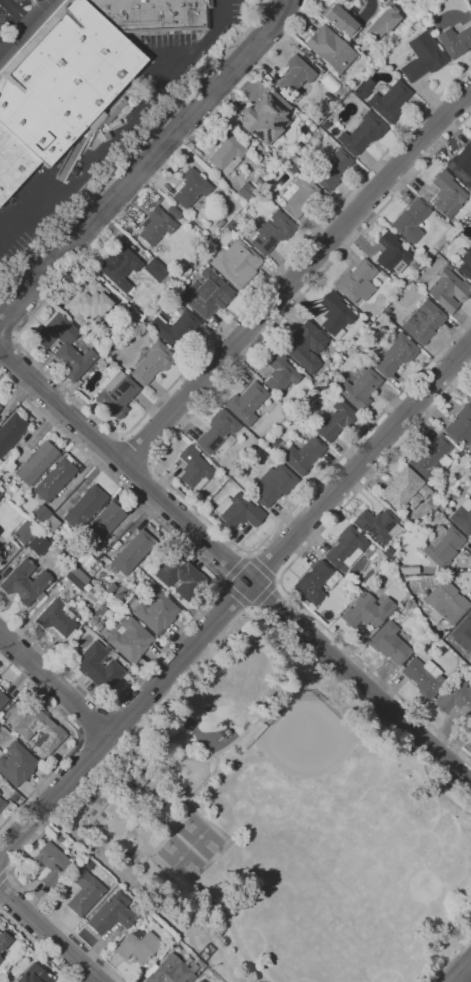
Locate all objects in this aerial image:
road: (368, 9)
road: (15, 10)
road: (300, 17)
road: (303, 18)
building: (339, 19)
parking lot: (21, 22)
building: (382, 23)
road: (23, 25)
building: (399, 28)
building: (455, 41)
road: (1, 45)
building: (330, 49)
building: (422, 58)
building: (76, 75)
building: (295, 77)
building: (363, 88)
building: (341, 91)
building: (390, 101)
building: (265, 117)
building: (325, 124)
road: (125, 128)
building: (362, 133)
road: (136, 151)
building: (226, 153)
building: (295, 160)
road: (147, 162)
building: (462, 164)
building: (292, 169)
building: (332, 170)
building: (257, 182)
building: (191, 188)
building: (245, 192)
building: (447, 194)
building: (300, 196)
building: (173, 212)
building: (411, 221)
building: (220, 223)
building: (155, 226)
building: (272, 232)
building: (391, 253)
building: (466, 263)
building: (236, 264)
building: (119, 267)
building: (157, 271)
road: (295, 277)
building: (357, 282)
building: (446, 289)
building: (206, 294)
building: (125, 297)
building: (88, 300)
building: (335, 314)
building: (422, 322)
road: (229, 323)
road: (8, 326)
building: (174, 326)
building: (91, 331)
building: (65, 346)
building: (304, 346)
building: (102, 353)
building: (395, 355)
building: (152, 363)
building: (280, 372)
building: (360, 389)
building: (116, 394)
building: (470, 398)
building: (246, 403)
building: (0, 407)
building: (0, 408)
building: (334, 420)
building: (460, 425)
building: (11, 431)
building: (216, 432)
road: (99, 444)
road: (137, 449)
building: (303, 455)
road: (155, 457)
building: (430, 457)
building: (36, 463)
building: (194, 469)
road: (137, 476)
building: (54, 480)
building: (275, 485)
building: (404, 490)
building: (1, 491)
building: (0, 495)
building: (84, 508)
building: (237, 511)
building: (40, 513)
building: (462, 519)
building: (51, 524)
building: (102, 524)
building: (378, 525)
building: (24, 532)
road: (181, 542)
building: (37, 543)
building: (441, 545)
building: (345, 548)
building: (379, 552)
building: (388, 552)
building: (131, 553)
building: (1, 556)
building: (82, 557)
building: (0, 560)
building: (87, 562)
road: (233, 567)
road: (236, 569)
road: (263, 569)
building: (408, 569)
road: (286, 570)
building: (180, 576)
building: (76, 578)
building: (24, 582)
building: (313, 582)
building: (110, 588)
building: (121, 591)
road: (264, 594)
road: (237, 595)
road: (235, 597)
building: (446, 603)
building: (154, 610)
building: (366, 611)
building: (102, 612)
building: (59, 618)
building: (92, 620)
building: (466, 622)
building: (469, 633)
building: (79, 635)
building: (129, 638)
building: (389, 644)
building: (96, 665)
building: (423, 677)
road: (177, 681)
road: (54, 685)
road: (80, 685)
building: (2, 699)
building: (455, 700)
road: (119, 719)
road: (94, 722)
building: (467, 726)
building: (39, 731)
road: (93, 748)
road: (65, 757)
building: (16, 764)
building: (138, 778)
park: (307, 782)
building: (159, 799)
building: (2, 803)
park: (281, 822)
park: (200, 837)
park: (181, 858)
building: (50, 863)
road: (5, 871)
road: (2, 874)
building: (84, 892)
building: (110, 916)
road: (49, 936)
building: (4, 940)
road: (36, 947)
building: (137, 947)
road: (458, 953)
building: (0, 959)
road: (462, 963)
building: (170, 971)
road: (95, 972)
road: (461, 972)
building: (34, 974)
building: (198, 981)
building: (200, 981)
road: (455, 981)

